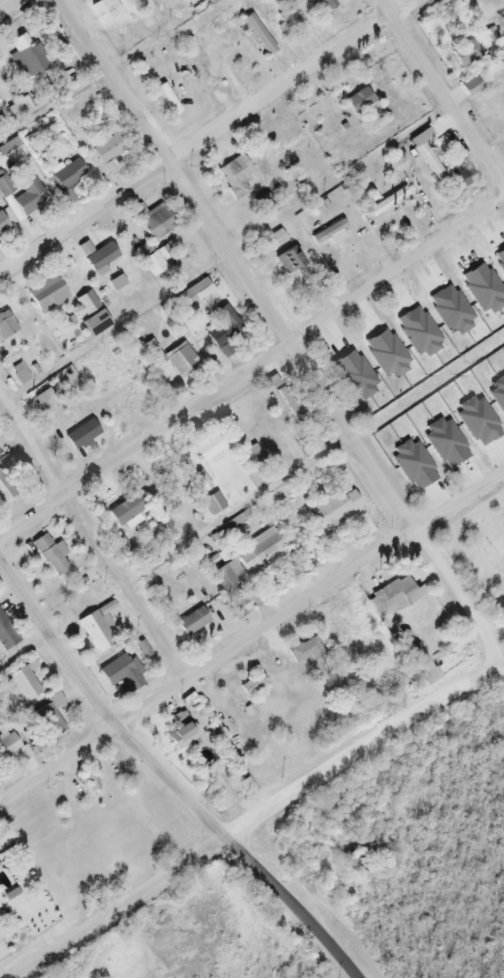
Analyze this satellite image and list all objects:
building: (329, 7)
road: (15, 8)
building: (105, 10)
building: (288, 21)
building: (258, 35)
building: (470, 87)
road: (440, 97)
building: (167, 100)
building: (358, 101)
building: (18, 108)
road: (194, 147)
building: (68, 176)
building: (234, 178)
building: (462, 178)
building: (29, 197)
building: (386, 203)
building: (153, 224)
building: (3, 225)
building: (321, 243)
building: (100, 259)
building: (148, 259)
building: (287, 259)
building: (192, 294)
building: (46, 295)
building: (85, 303)
building: (95, 323)
building: (6, 326)
building: (223, 328)
road: (280, 330)
building: (175, 367)
road: (253, 369)
building: (19, 373)
building: (43, 400)
building: (81, 435)
building: (207, 448)
building: (252, 459)
building: (334, 508)
building: (123, 511)
road: (91, 544)
building: (262, 551)
park: (480, 552)
building: (48, 556)
building: (233, 588)
building: (394, 596)
building: (191, 623)
building: (95, 632)
road: (251, 632)
road: (23, 651)
building: (304, 651)
road: (501, 661)
building: (421, 665)
building: (120, 676)
building: (251, 687)
building: (18, 692)
road: (100, 710)
building: (47, 716)
building: (181, 733)
building: (8, 746)
building: (90, 778)
road: (252, 818)
building: (6, 888)
road: (292, 905)
road: (141, 941)

